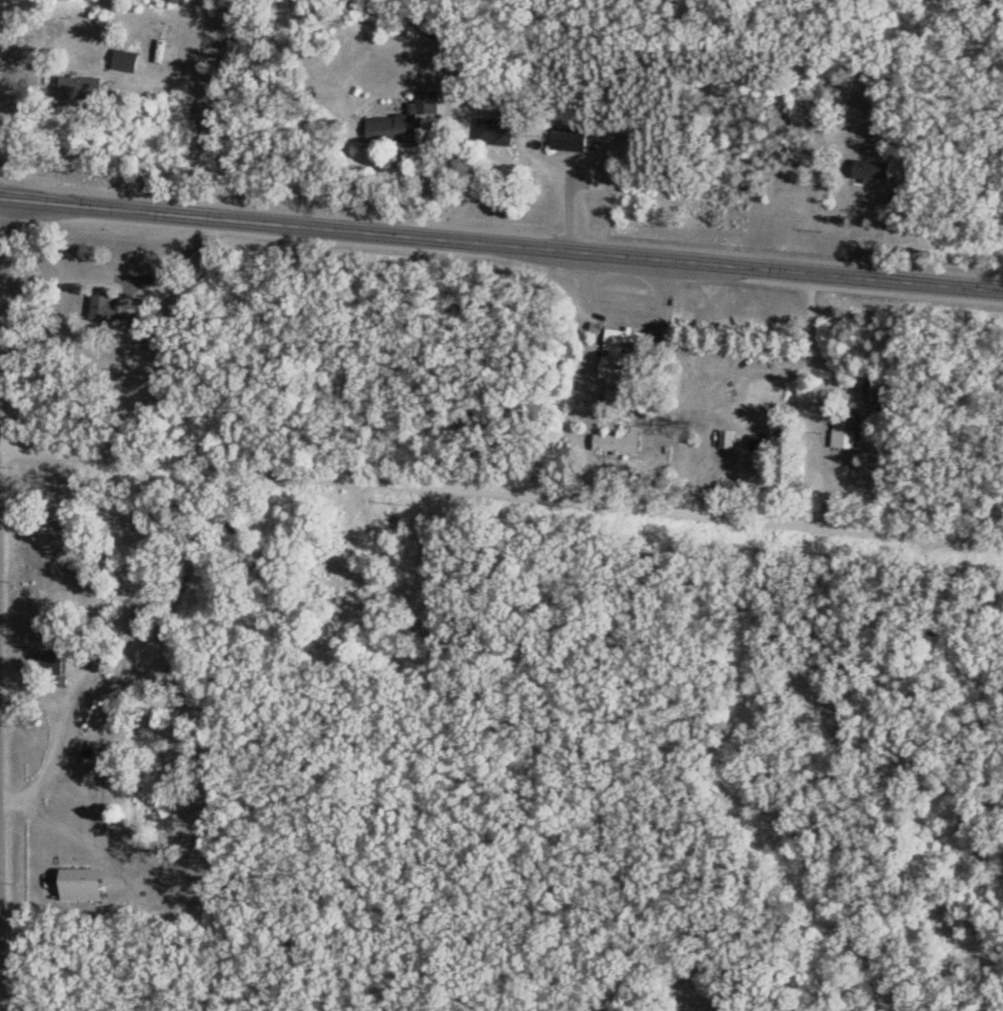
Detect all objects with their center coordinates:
building: (128, 59)
building: (81, 87)
building: (410, 122)
building: (389, 128)
road: (195, 130)
road: (425, 182)
road: (570, 205)
road: (879, 233)
road: (501, 244)
building: (101, 305)
building: (624, 360)
building: (846, 429)
building: (728, 438)
building: (621, 440)
road: (501, 494)
road: (748, 802)
building: (82, 883)
road: (924, 973)

